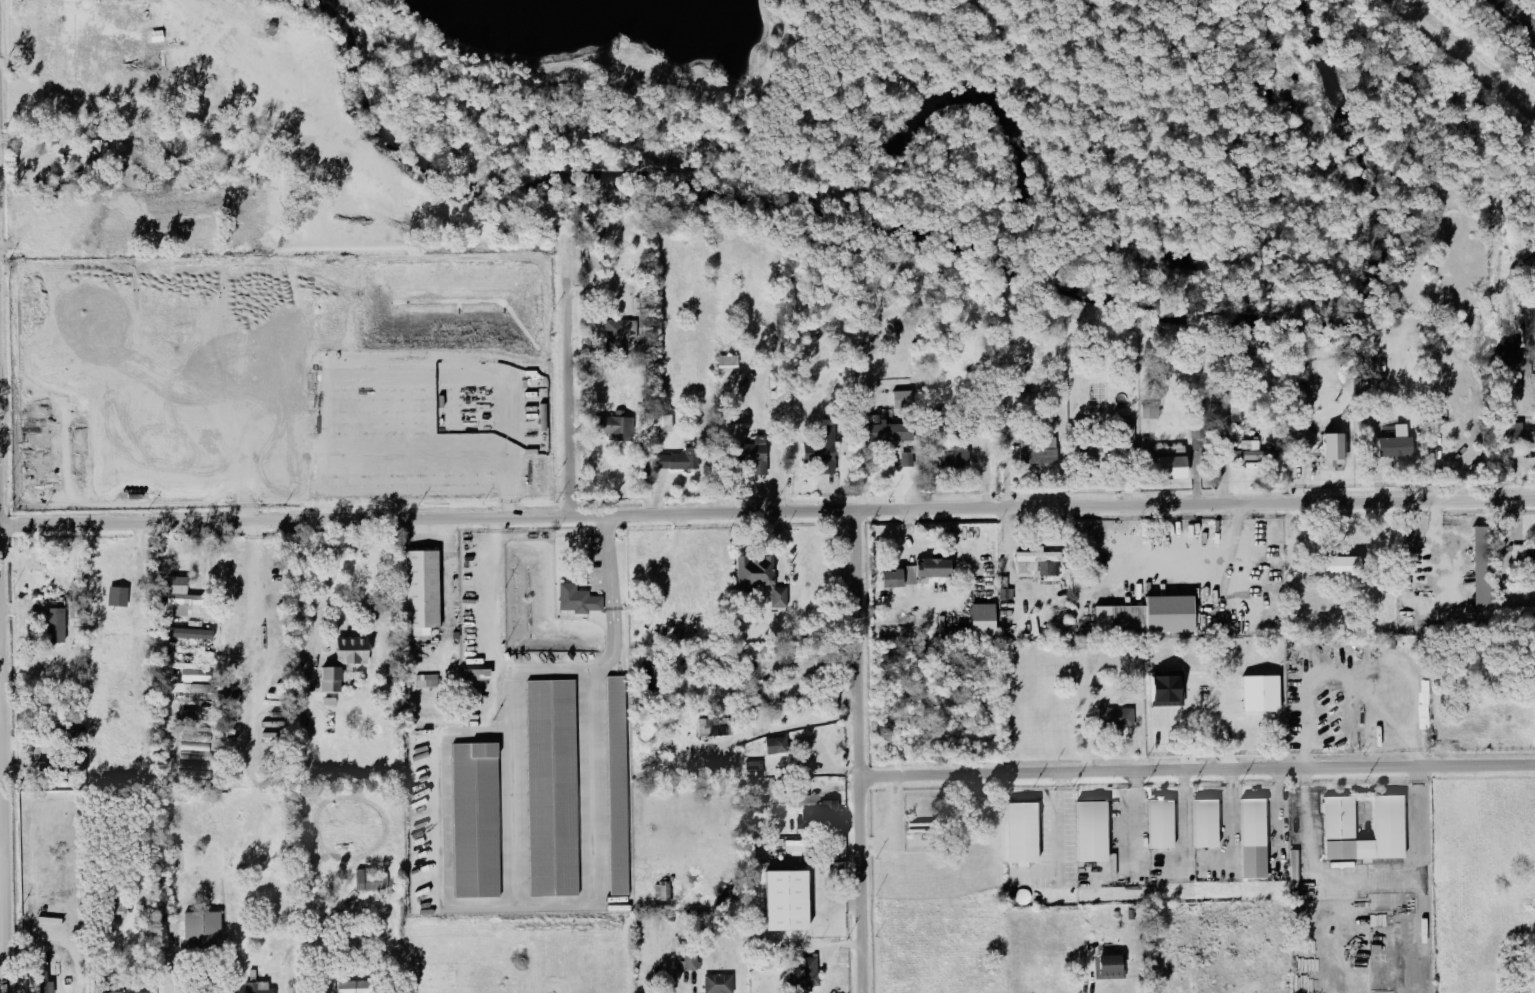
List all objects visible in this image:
railway: (1513, 16)
railway: (1473, 48)
river: (911, 240)
building: (626, 255)
road: (383, 314)
building: (620, 333)
road: (284, 380)
road: (151, 384)
road: (64, 386)
road: (565, 398)
building: (903, 401)
road: (325, 408)
road: (237, 409)
building: (1150, 413)
building: (663, 425)
building: (618, 429)
building: (890, 433)
building: (1520, 435)
building: (1202, 438)
road: (417, 440)
building: (1399, 445)
building: (1337, 451)
building: (1255, 453)
building: (822, 454)
building: (1040, 454)
building: (758, 455)
building: (907, 460)
building: (955, 460)
building: (681, 461)
building: (1171, 462)
road: (16, 501)
road: (767, 514)
building: (1521, 554)
building: (726, 556)
building: (1039, 564)
building: (1264, 567)
building: (1345, 567)
building: (920, 574)
building: (1486, 576)
road: (445, 577)
building: (761, 580)
building: (176, 586)
building: (422, 590)
building: (713, 595)
road: (323, 596)
building: (117, 597)
building: (579, 601)
road: (155, 608)
road: (251, 611)
building: (1527, 613)
building: (1150, 618)
building: (985, 621)
building: (55, 626)
building: (354, 653)
road: (552, 668)
road: (1372, 670)
building: (197, 676)
building: (477, 677)
building: (332, 681)
building: (427, 682)
building: (1170, 692)
road: (1310, 694)
building: (1263, 695)
building: (1116, 718)
road: (793, 727)
building: (716, 728)
building: (778, 747)
road: (856, 752)
building: (754, 770)
road: (1195, 770)
road: (1230, 783)
building: (617, 787)
building: (553, 788)
building: (822, 817)
building: (1338, 819)
building: (475, 821)
building: (1160, 824)
building: (1204, 824)
road: (1060, 827)
building: (1387, 828)
building: (1090, 831)
building: (1021, 833)
building: (1252, 839)
building: (1348, 850)
road: (2, 857)
road: (1311, 874)
road: (1420, 879)
building: (372, 882)
building: (662, 892)
building: (785, 901)
road: (556, 905)
building: (49, 921)
building: (202, 930)
building: (1109, 968)
road: (1389, 969)
road: (1303, 974)
building: (720, 984)
building: (355, 987)
building: (259, 988)
building: (124, 990)

